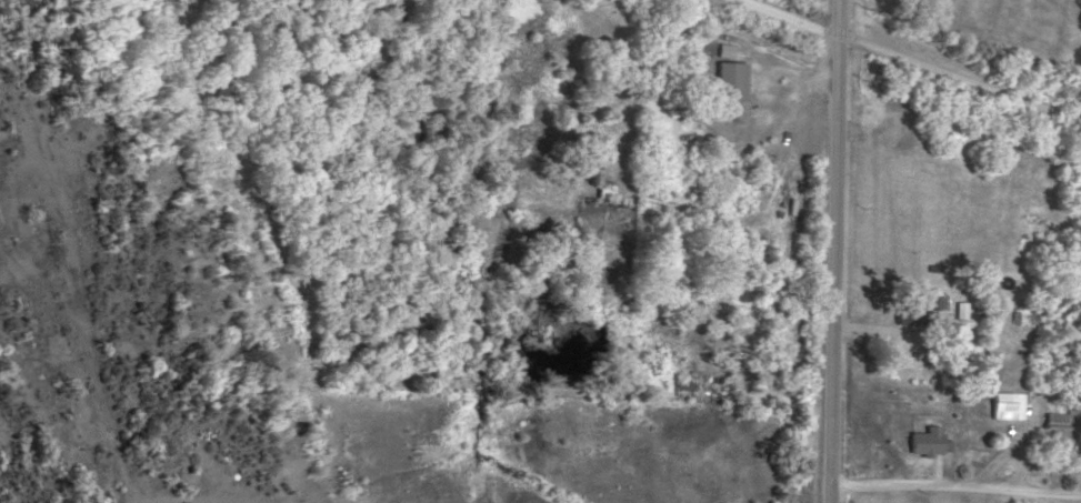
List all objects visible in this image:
road: (911, 60)
road: (777, 63)
building: (732, 79)
road: (833, 251)
building: (940, 301)
building: (911, 309)
building: (961, 309)
building: (1024, 315)
building: (1008, 404)
building: (1062, 424)
building: (928, 440)
road: (954, 492)

